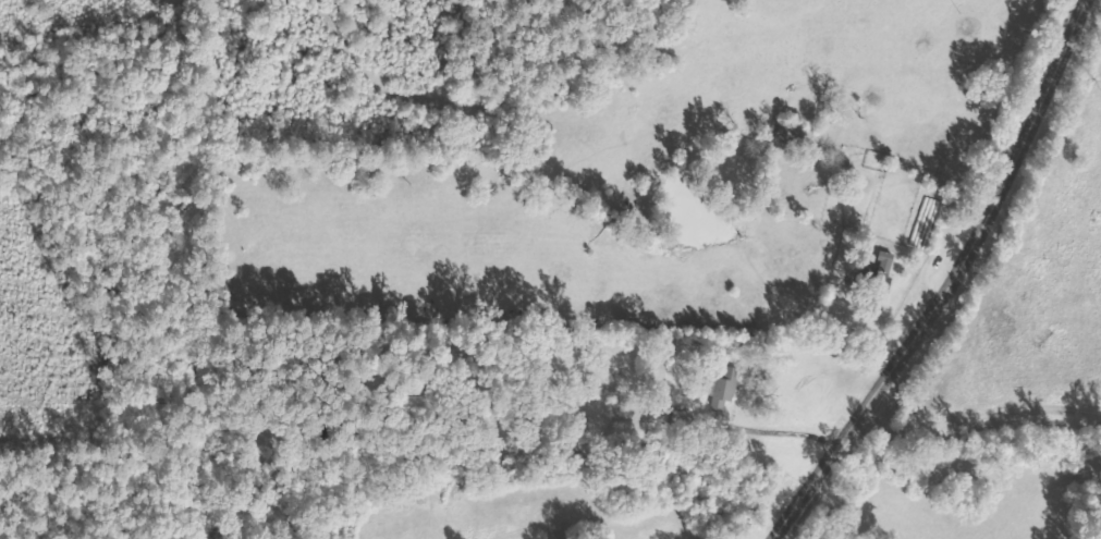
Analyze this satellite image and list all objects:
building: (786, 133)
building: (874, 273)
road: (950, 280)
building: (719, 387)
road: (988, 413)
park: (172, 536)

